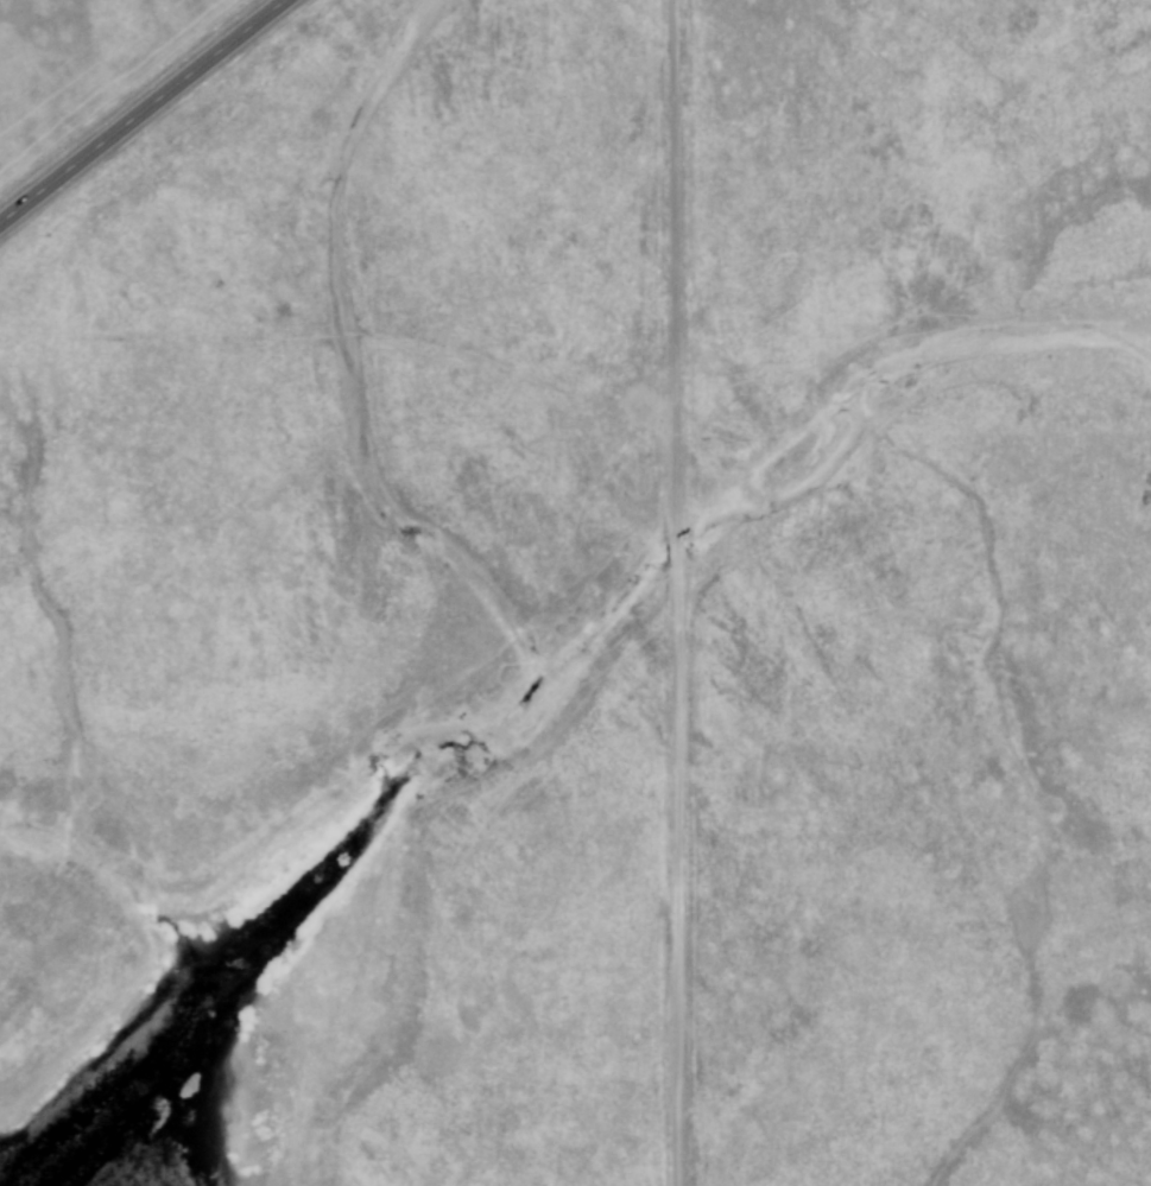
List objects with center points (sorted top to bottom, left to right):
road: (143, 110)
road: (679, 592)

